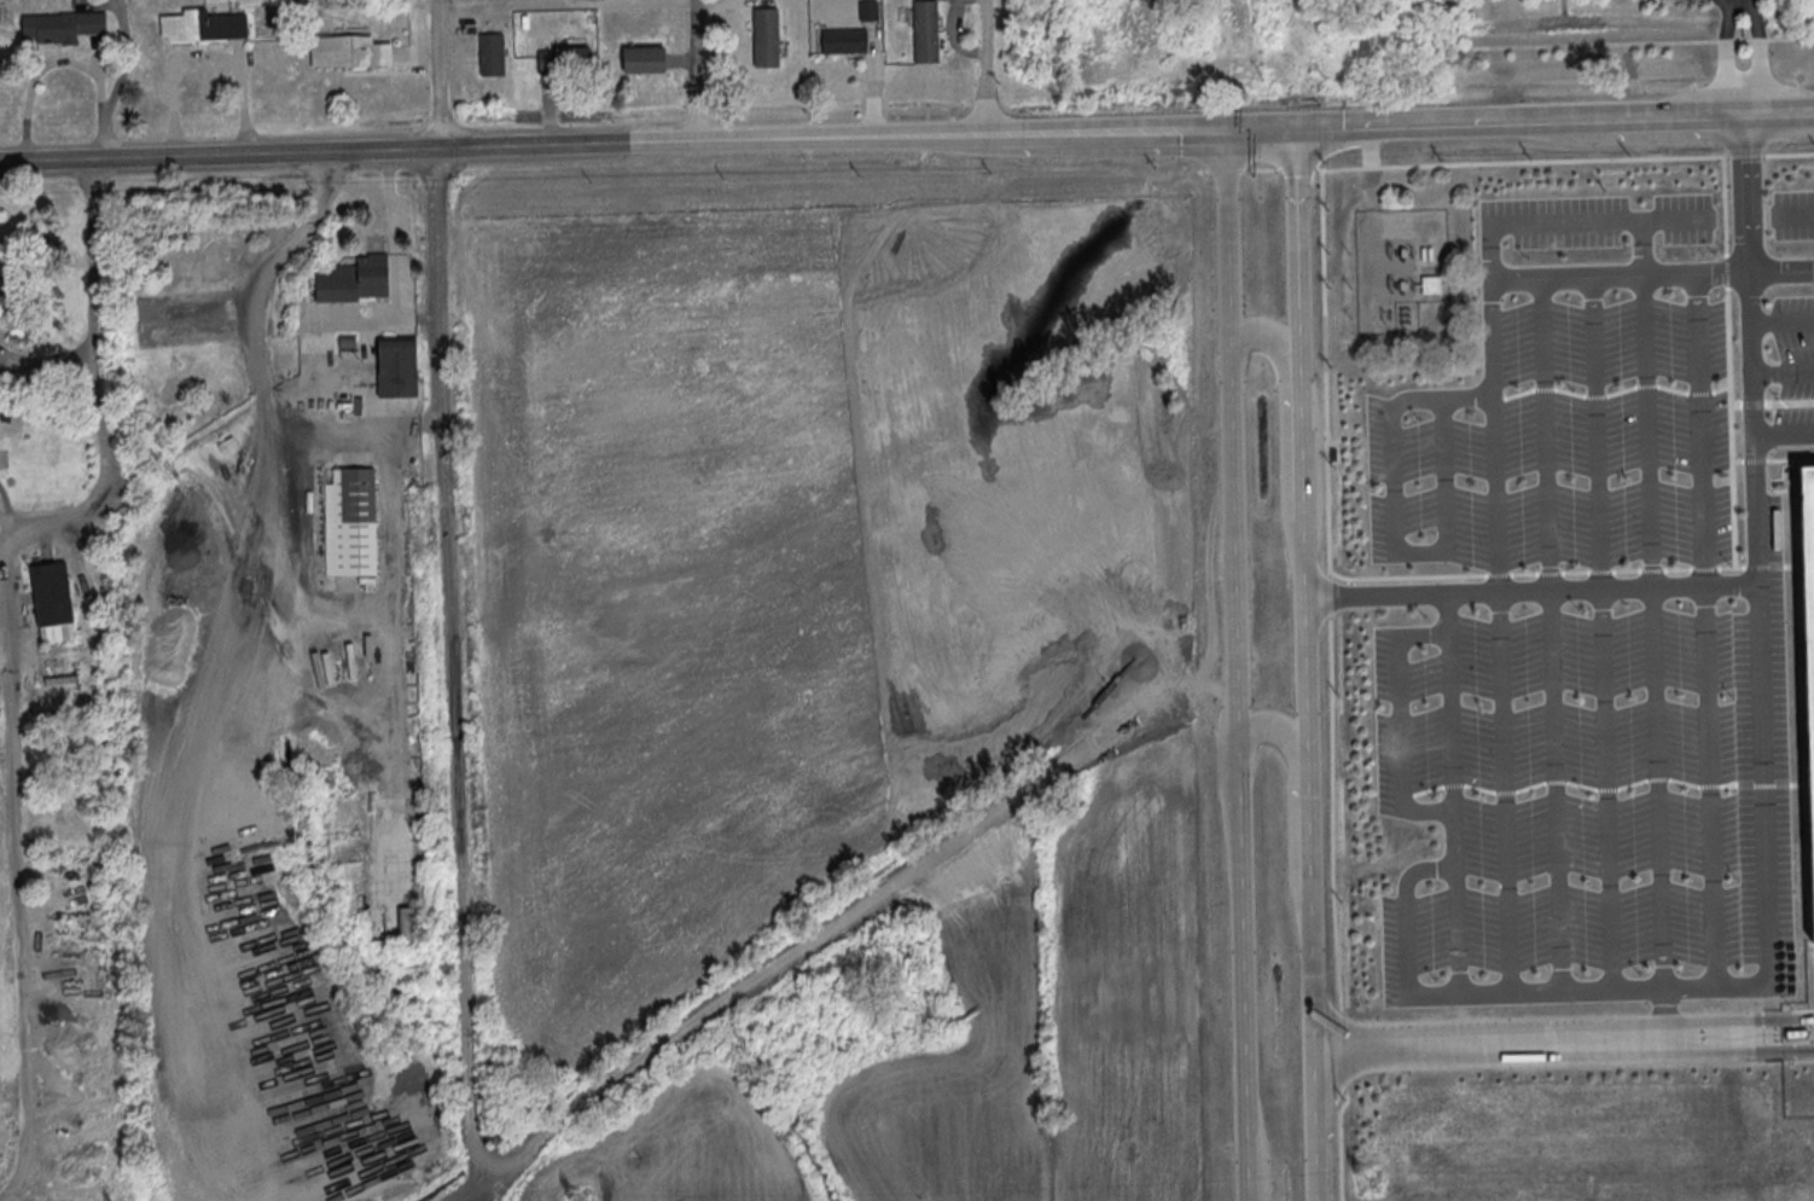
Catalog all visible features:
building: (867, 10)
building: (202, 24)
building: (62, 25)
building: (925, 30)
building: (764, 36)
building: (843, 39)
road: (1758, 42)
road: (1726, 45)
building: (347, 51)
building: (492, 53)
road: (204, 54)
building: (643, 58)
building: (563, 59)
road: (45, 65)
road: (983, 65)
road: (693, 70)
road: (436, 74)
road: (118, 80)
road: (1745, 95)
road: (1566, 114)
road: (1272, 122)
traffic signals: (1320, 122)
traffic signals: (1225, 124)
road: (611, 143)
road: (1370, 164)
road: (1802, 224)
road: (1587, 231)
road: (1659, 257)
road: (1371, 266)
road: (271, 267)
power substation: (1400, 271)
building: (355, 279)
building: (1429, 284)
road: (1658, 286)
building: (2, 288)
road: (441, 318)
road: (1787, 332)
road: (46, 359)
building: (396, 366)
road: (93, 384)
road: (1789, 385)
road: (1483, 402)
road: (263, 420)
road: (295, 437)
road: (1790, 445)
road: (391, 456)
building: (51, 458)
road: (1458, 486)
road: (1403, 488)
building: (349, 521)
road: (283, 585)
road: (1401, 599)
road: (1615, 599)
building: (52, 600)
road: (1719, 639)
road: (1616, 640)
road: (1668, 640)
road: (1569, 643)
road: (1516, 644)
road: (1306, 661)
road: (1236, 662)
road: (308, 702)
road: (1774, 732)
road: (1414, 735)
road: (1465, 735)
road: (1292, 808)
road: (460, 836)
building: (339, 849)
road: (1469, 852)
road: (16, 919)
road: (1420, 919)
road: (836, 930)
road: (1470, 939)
road: (1679, 1017)
road: (1564, 1043)
power tower: (1367, 1179)
road: (464, 1194)
road: (473, 1194)
power tower: (576, 1200)

